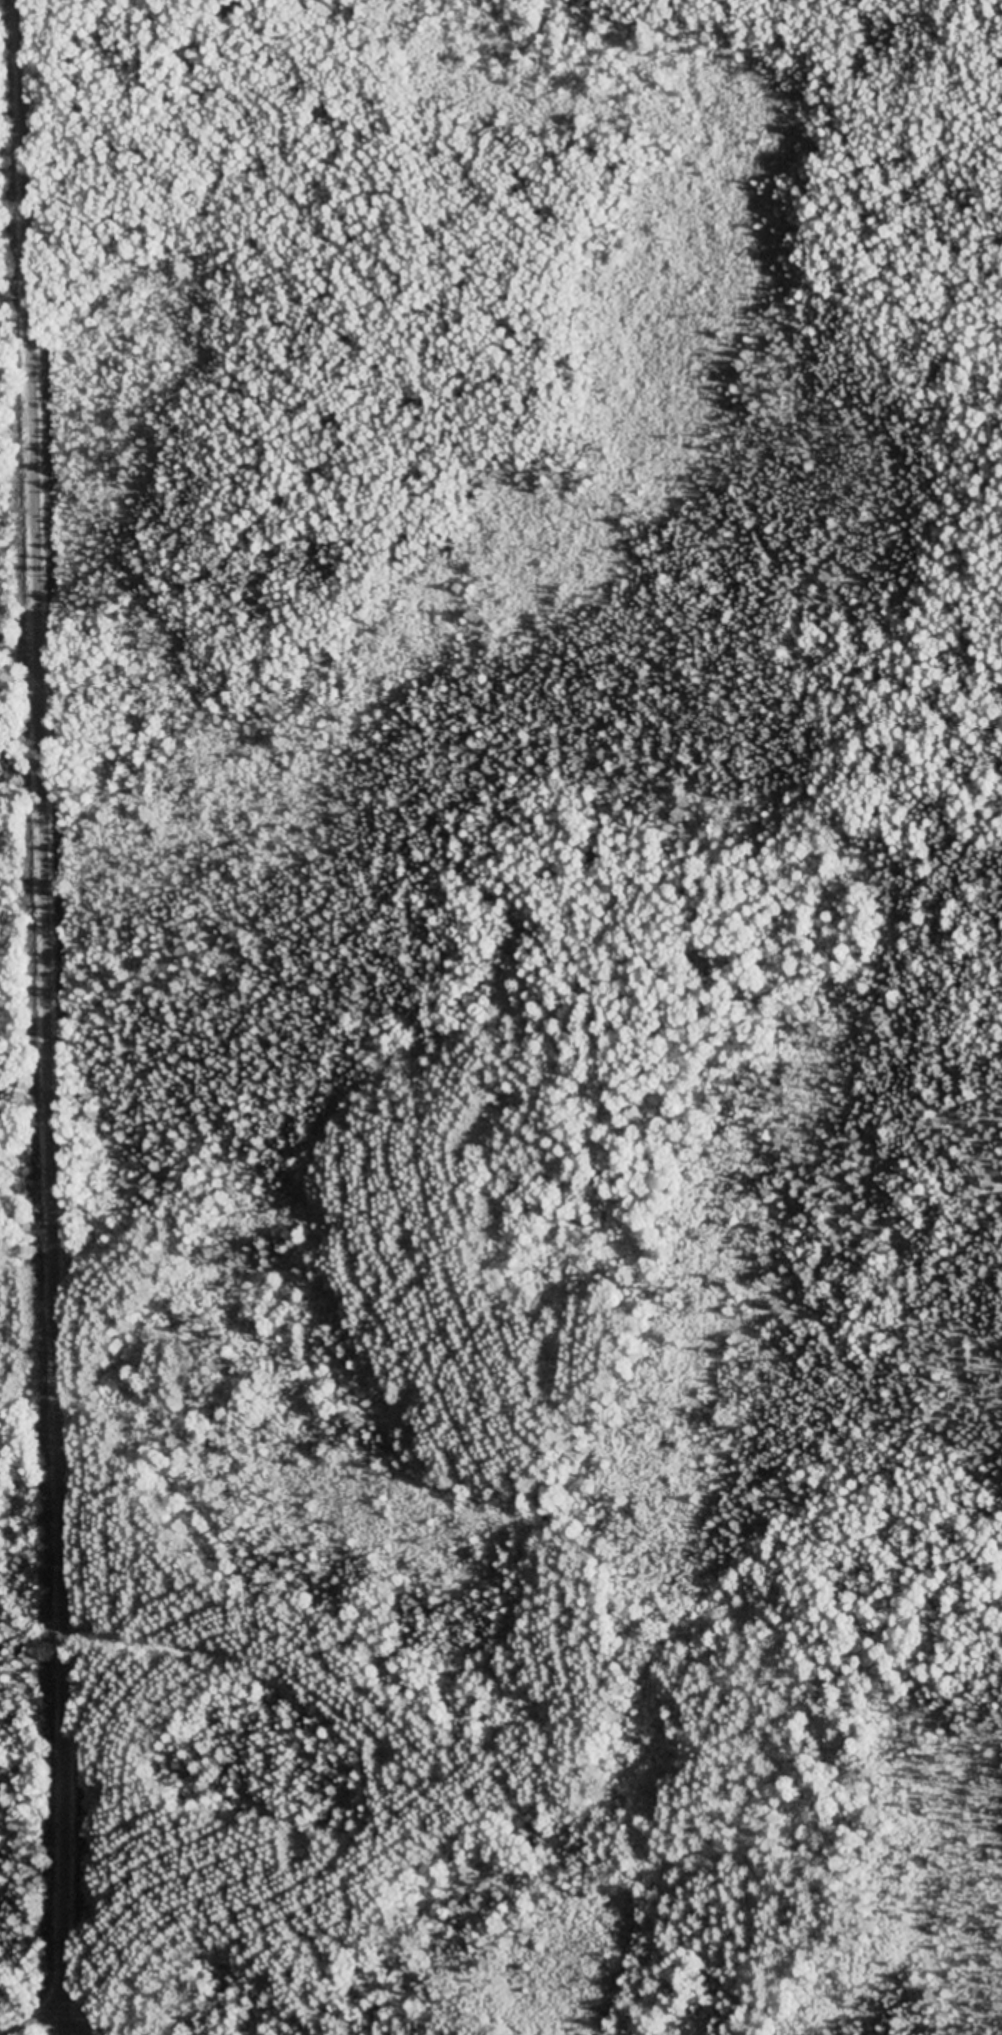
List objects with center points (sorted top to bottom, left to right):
road: (47, 1017)
road: (25, 2015)

